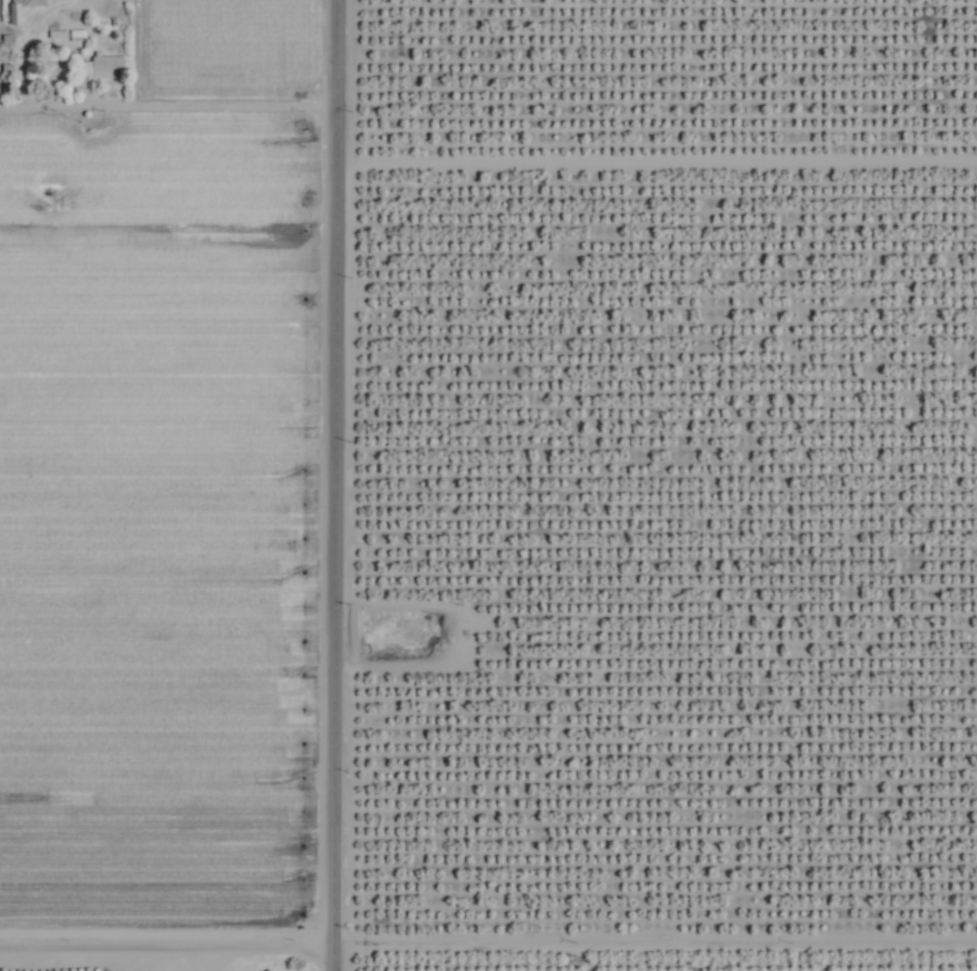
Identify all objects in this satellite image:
building: (14, 15)
building: (100, 66)
road: (171, 111)
road: (332, 465)
road: (160, 930)
road: (320, 951)

